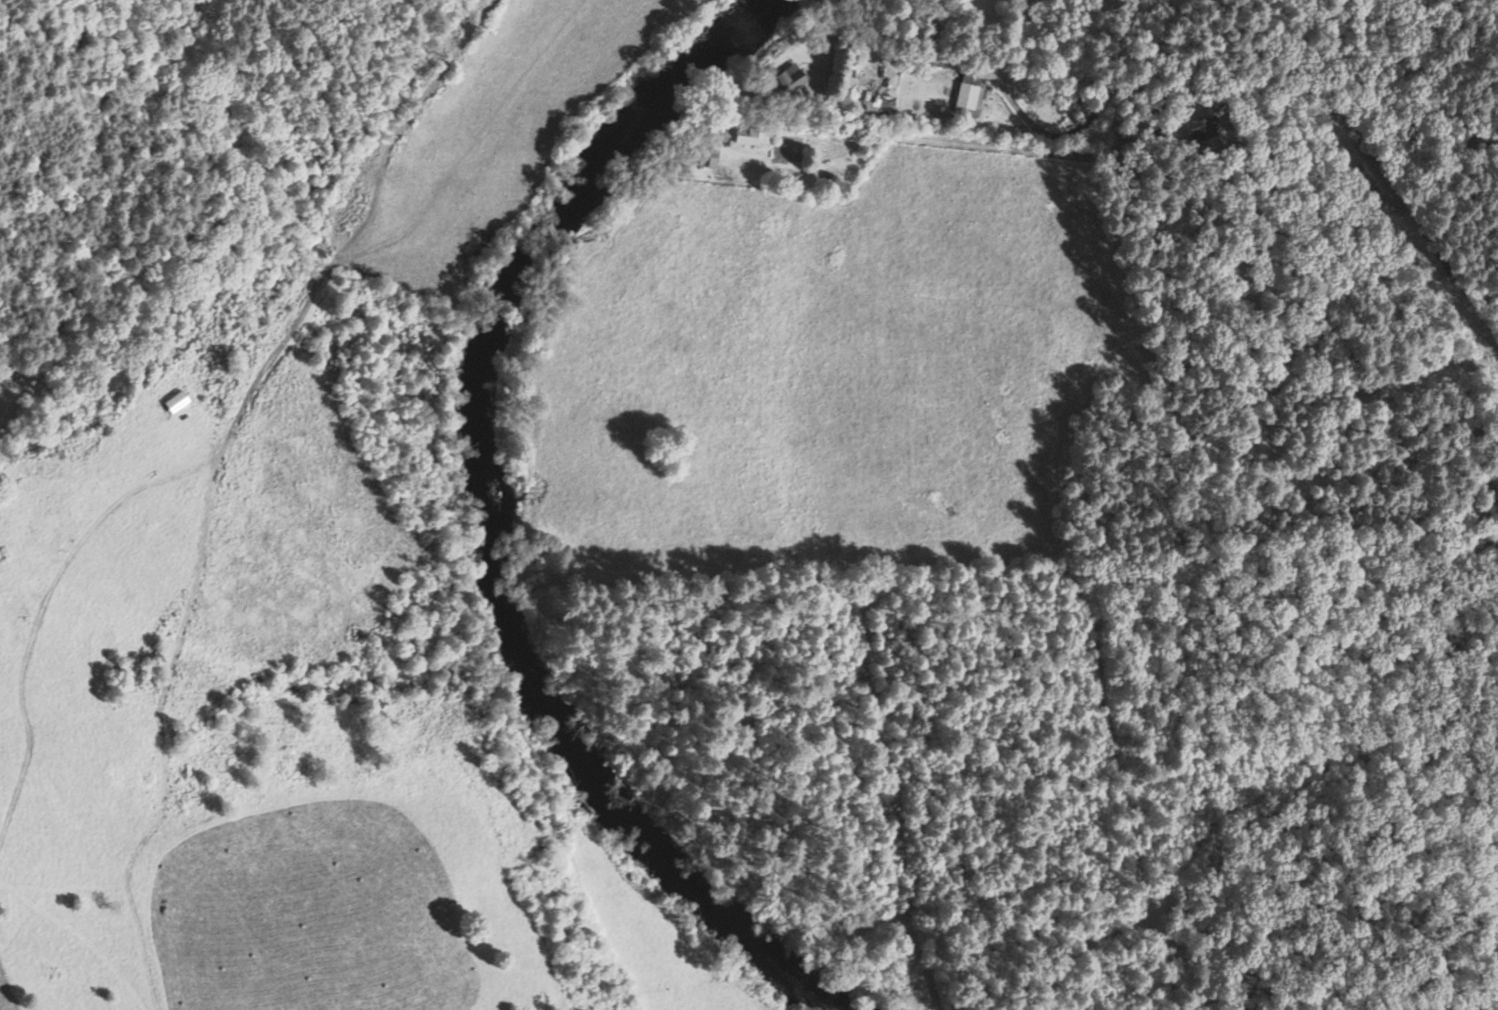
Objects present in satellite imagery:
road: (1082, 155)
river: (472, 514)

